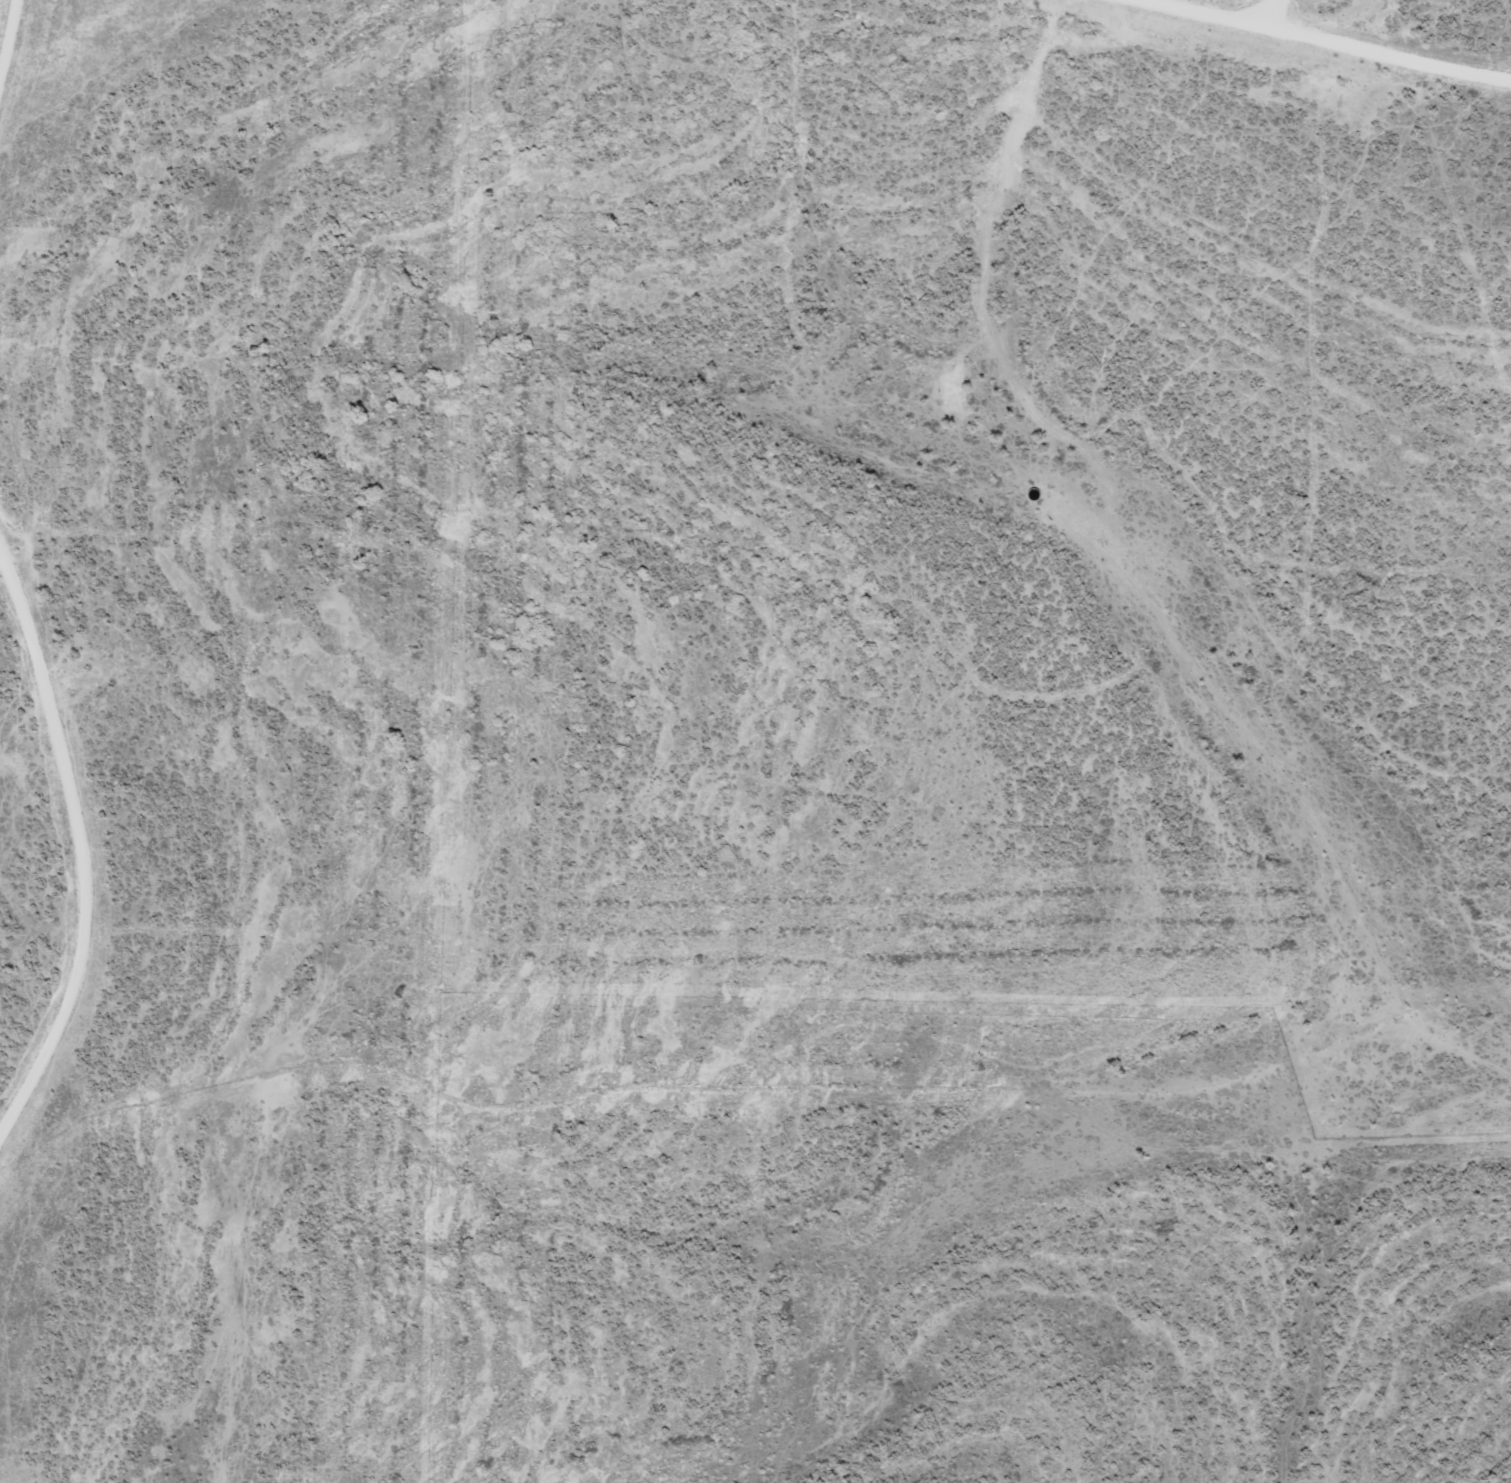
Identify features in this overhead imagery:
road: (12, 42)
road: (1315, 43)
road: (79, 847)

